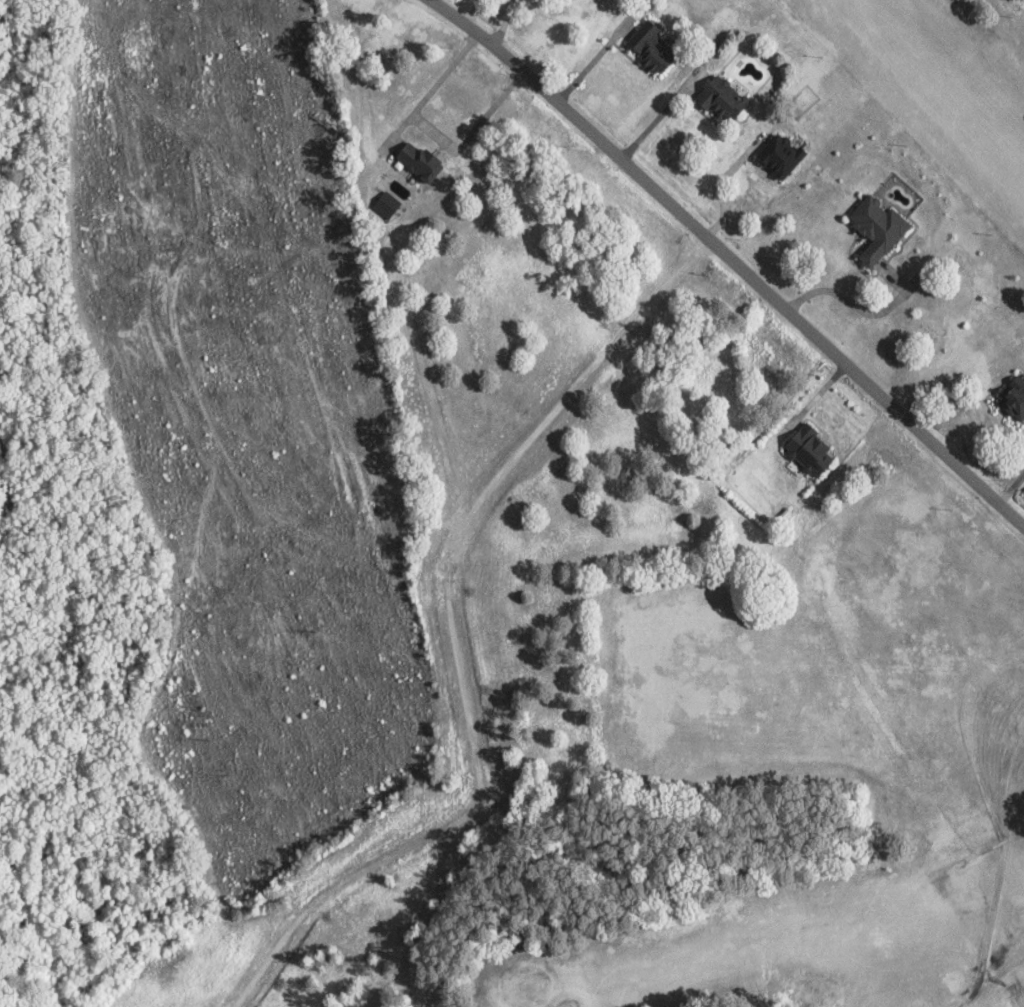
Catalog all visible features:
building: (658, 47)
building: (726, 99)
building: (417, 162)
building: (880, 229)
road: (724, 247)
building: (1015, 398)
building: (811, 450)
road: (456, 637)

